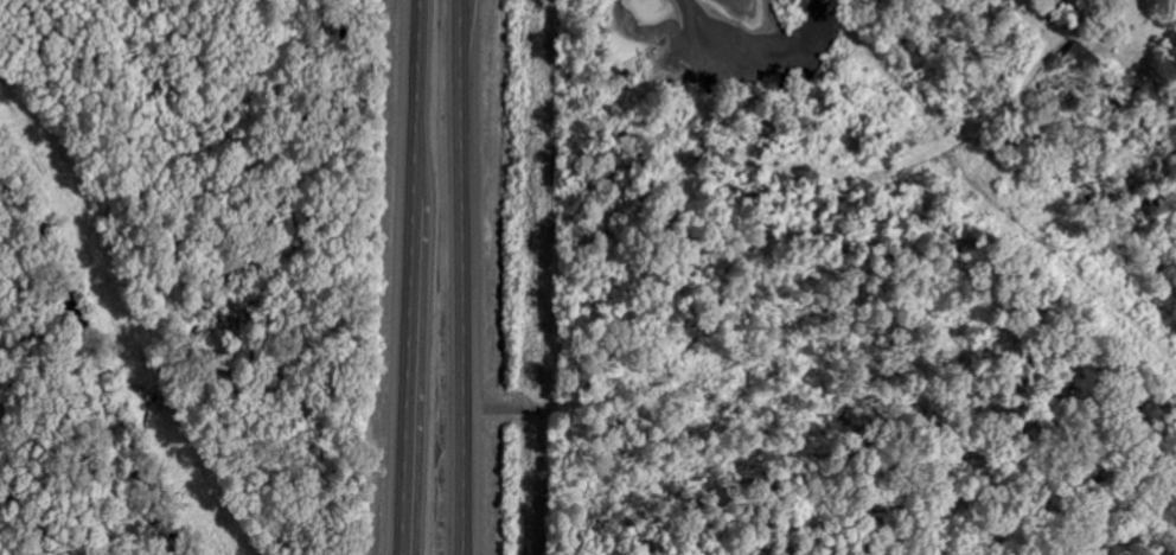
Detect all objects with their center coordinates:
road: (462, 276)
road: (411, 277)

